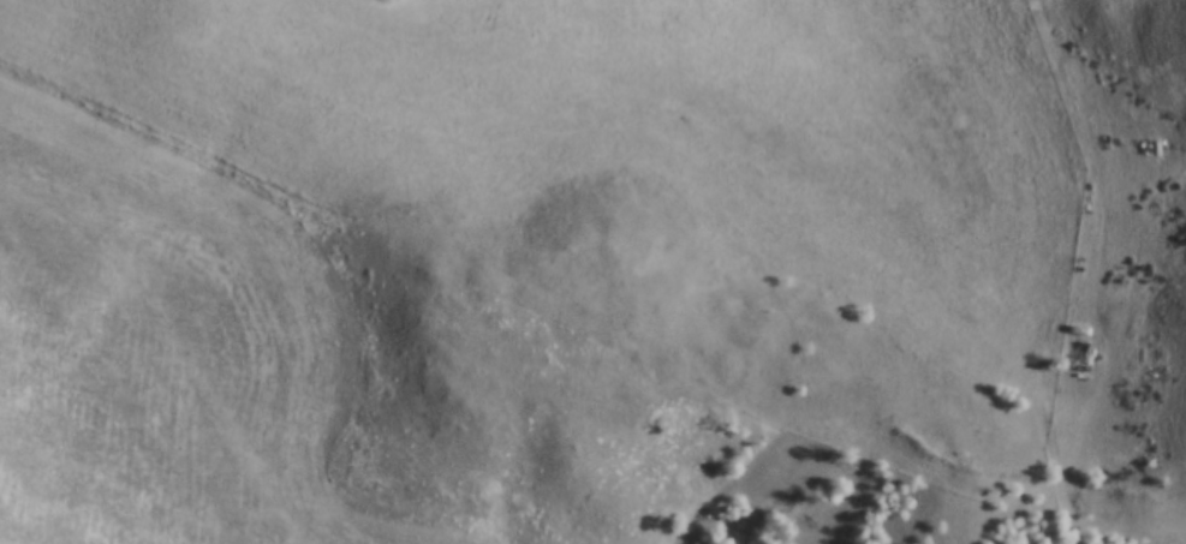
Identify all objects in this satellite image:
building: (1078, 349)

